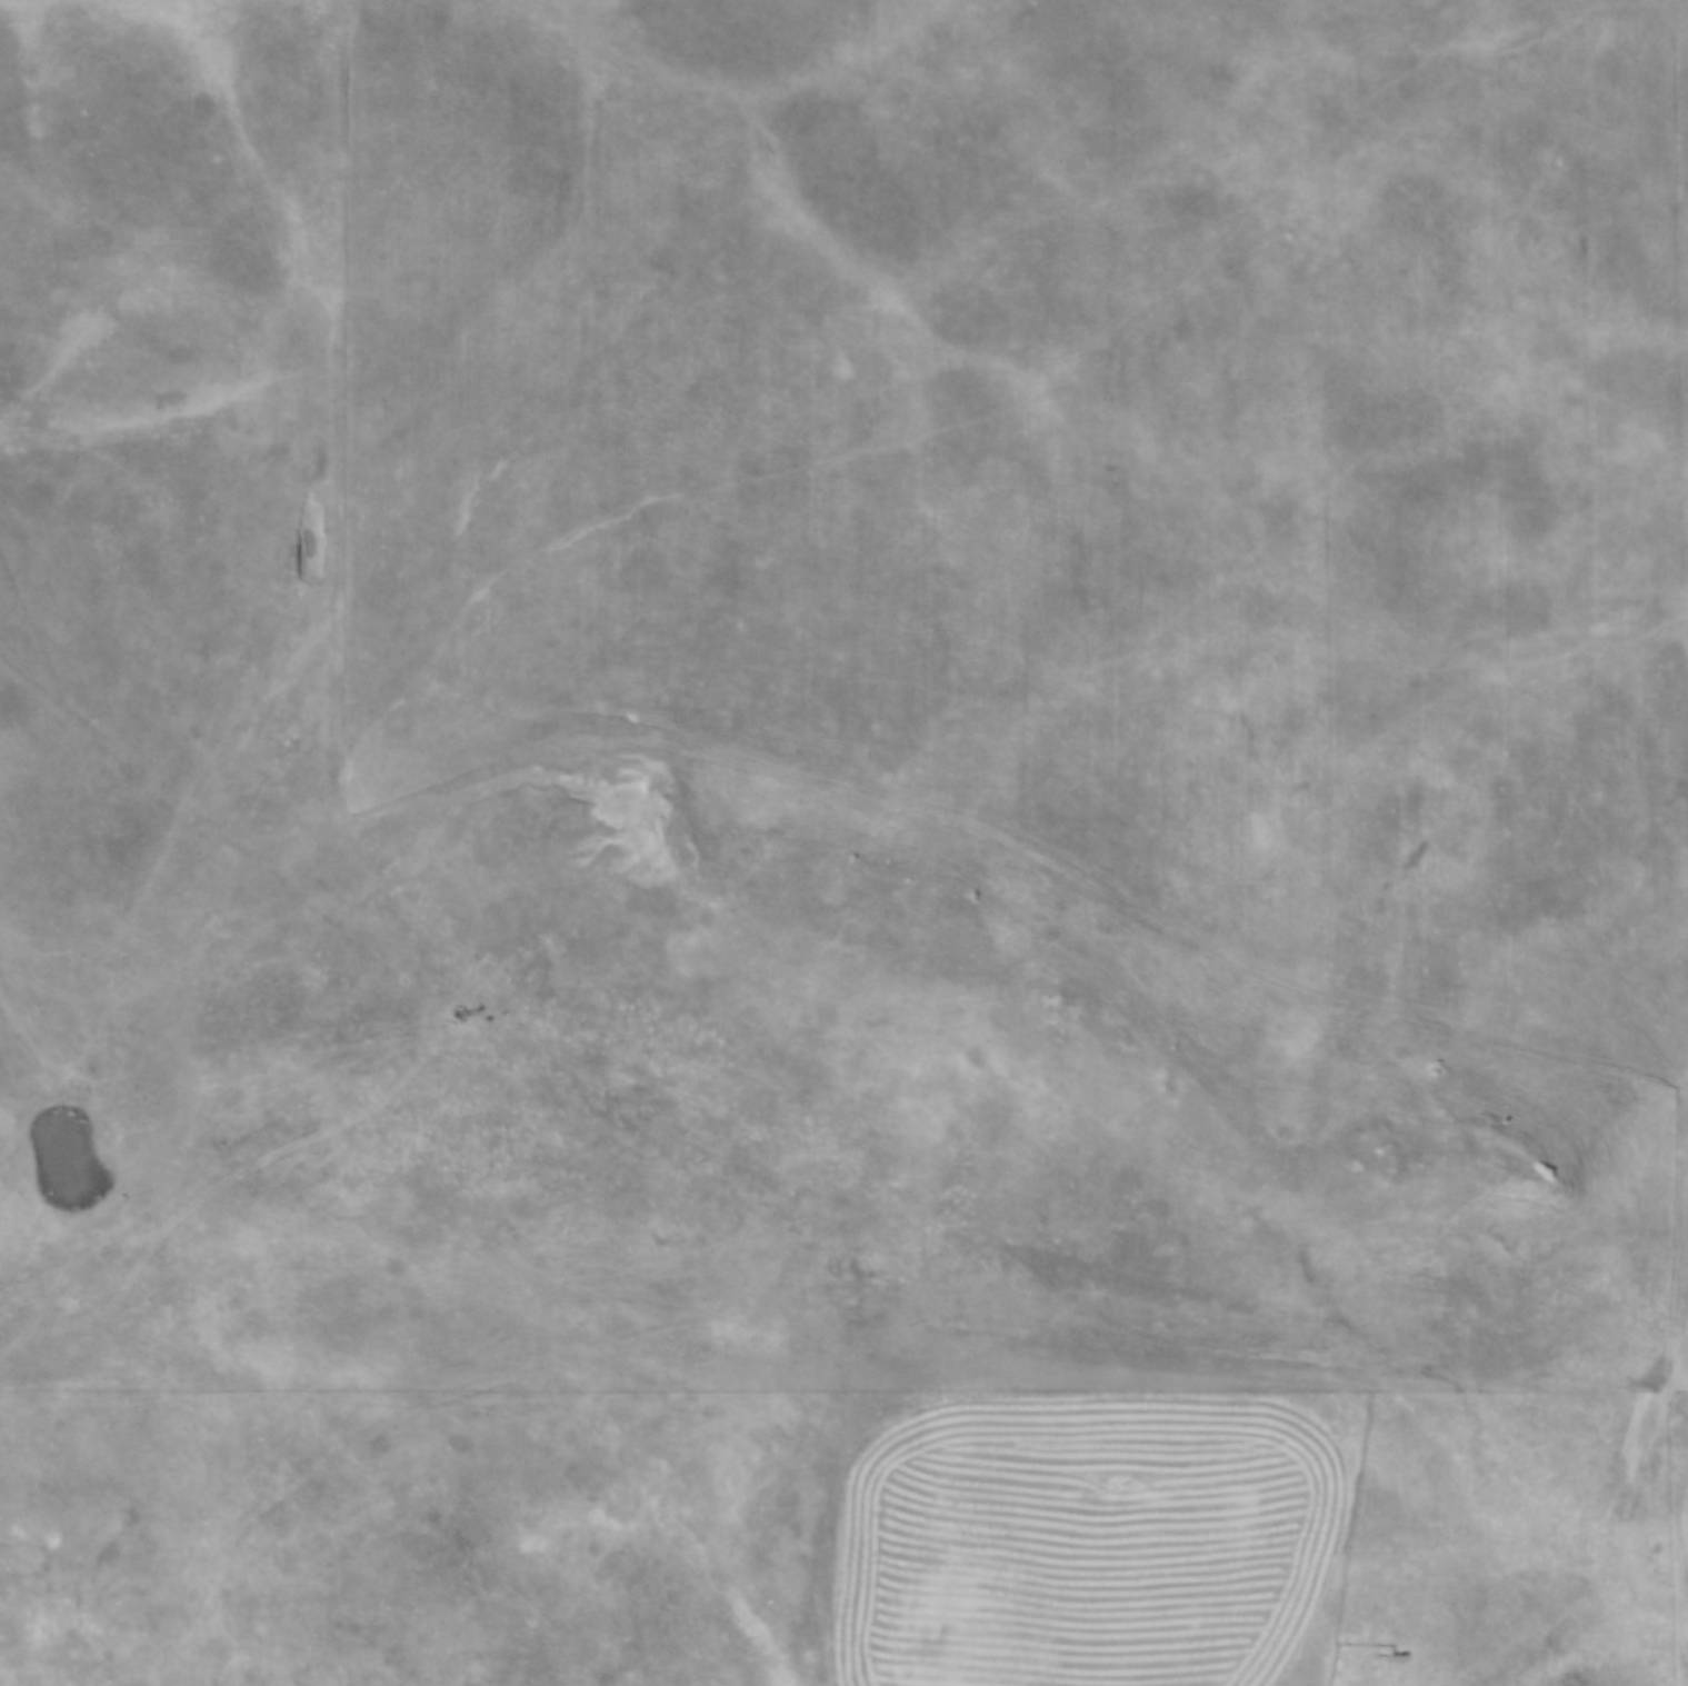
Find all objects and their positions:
road: (1679, 191)
road: (1066, 1261)
road: (1638, 1519)
road: (1560, 1624)

